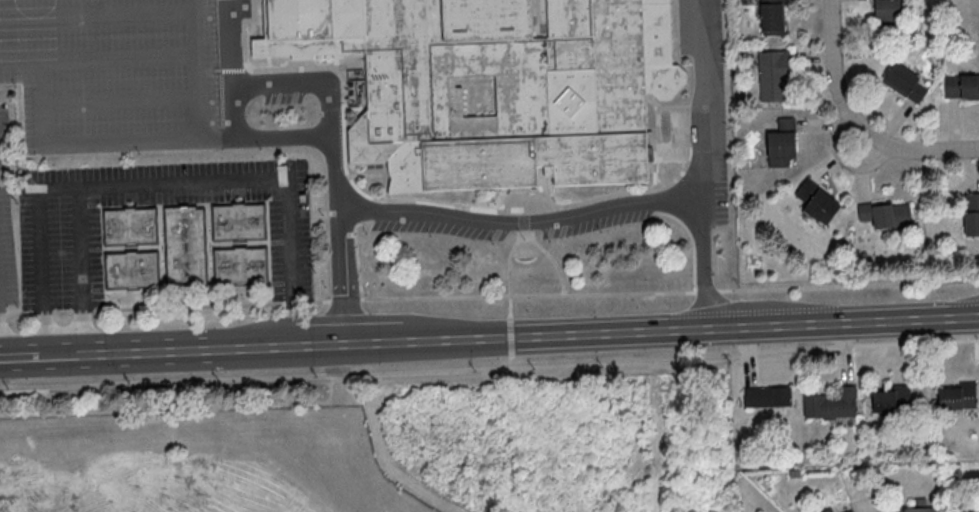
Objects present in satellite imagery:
road: (97, 12)
building: (886, 12)
building: (771, 17)
road: (537, 19)
road: (97, 54)
road: (299, 64)
road: (263, 69)
road: (224, 70)
parking lot: (113, 74)
building: (773, 75)
building: (903, 82)
road: (283, 84)
building: (961, 85)
parking lot: (709, 95)
road: (111, 97)
building: (568, 98)
road: (703, 99)
road: (24, 100)
road: (673, 107)
road: (353, 108)
road: (858, 121)
road: (659, 124)
road: (297, 138)
road: (113, 139)
building: (781, 142)
road: (698, 152)
road: (667, 157)
road: (844, 161)
road: (654, 173)
road: (366, 175)
road: (160, 181)
road: (386, 182)
road: (545, 193)
building: (816, 201)
road: (488, 210)
building: (884, 213)
building: (971, 213)
parking lot: (599, 220)
building: (237, 222)
road: (518, 223)
building: (128, 226)
parking lot: (443, 226)
road: (692, 240)
building: (182, 246)
road: (357, 252)
road: (508, 257)
road: (551, 260)
road: (702, 263)
building: (238, 265)
road: (81, 269)
building: (129, 269)
road: (489, 295)
road: (578, 334)
road: (117, 352)
road: (39, 355)
road: (509, 355)
road: (11, 356)
road: (490, 373)
building: (766, 395)
building: (957, 395)
building: (891, 398)
building: (831, 403)
building: (918, 506)
building: (974, 507)
building: (824, 510)
building: (848, 511)
building: (942, 511)

